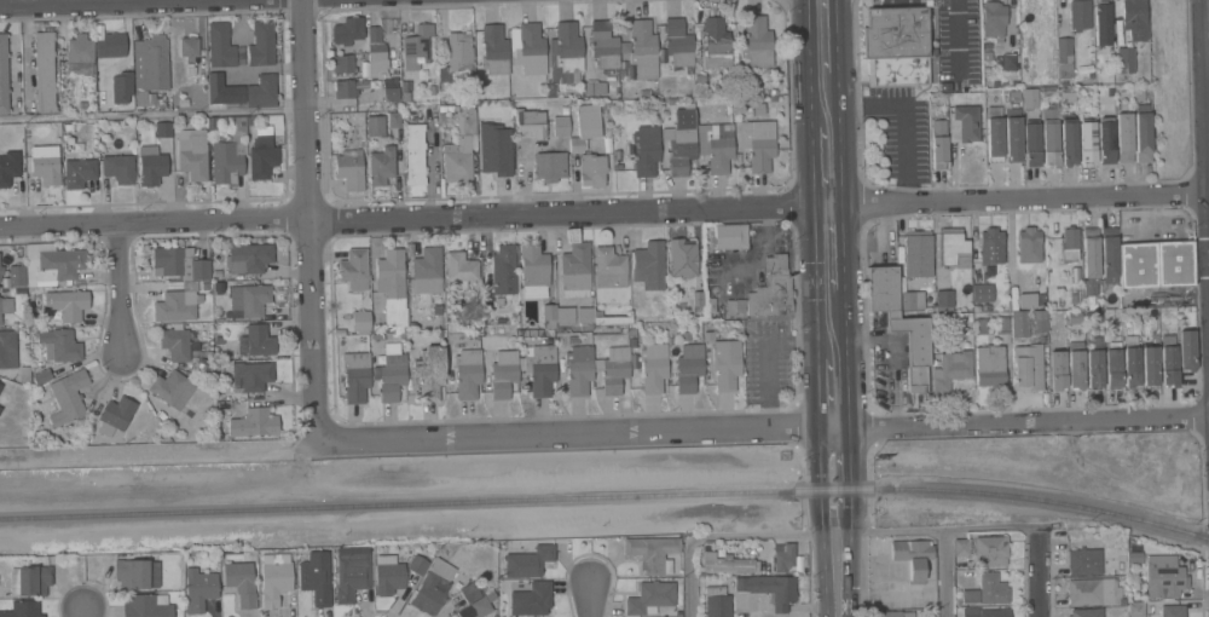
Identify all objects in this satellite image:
road: (106, 2)
building: (1132, 12)
building: (1078, 15)
building: (993, 19)
building: (1101, 28)
building: (347, 30)
road: (826, 35)
building: (716, 41)
building: (679, 42)
building: (756, 42)
building: (261, 44)
building: (220, 45)
building: (603, 45)
building: (895, 45)
building: (416, 46)
building: (189, 47)
building: (566, 47)
building: (109, 48)
building: (527, 48)
building: (376, 50)
building: (493, 50)
building: (643, 50)
building: (79, 54)
building: (456, 56)
building: (1064, 57)
building: (1124, 59)
building: (1008, 62)
building: (342, 63)
building: (150, 67)
road: (1207, 68)
building: (44, 71)
building: (4, 74)
building: (121, 87)
building: (595, 87)
building: (345, 88)
building: (222, 90)
road: (827, 90)
building: (262, 91)
building: (391, 93)
building: (1029, 98)
road: (151, 114)
road: (906, 115)
road: (828, 117)
building: (393, 119)
building: (468, 121)
building: (531, 122)
building: (964, 123)
building: (585, 125)
building: (375, 126)
building: (561, 126)
building: (163, 129)
building: (1124, 133)
building: (1143, 133)
building: (1049, 137)
building: (994, 139)
building: (1012, 139)
building: (681, 140)
building: (1068, 140)
building: (1105, 140)
building: (1087, 142)
building: (757, 143)
building: (1031, 143)
building: (938, 144)
building: (719, 146)
building: (493, 150)
building: (644, 150)
building: (192, 154)
building: (415, 154)
building: (230, 155)
building: (261, 156)
building: (457, 161)
building: (45, 163)
building: (151, 165)
building: (8, 166)
building: (381, 166)
building: (550, 166)
road: (829, 167)
building: (118, 168)
building: (349, 168)
building: (591, 168)
road: (432, 169)
building: (79, 172)
road: (604, 211)
road: (308, 218)
building: (729, 236)
building: (1069, 243)
building: (1029, 244)
building: (990, 246)
road: (831, 248)
building: (953, 248)
building: (916, 253)
building: (1091, 254)
building: (648, 255)
building: (248, 258)
building: (682, 258)
building: (499, 260)
building: (178, 263)
building: (1174, 263)
building: (51, 264)
building: (1110, 266)
building: (1136, 266)
building: (609, 267)
building: (353, 269)
building: (459, 269)
building: (533, 269)
building: (575, 270)
building: (427, 271)
building: (13, 275)
building: (392, 287)
building: (771, 289)
building: (883, 289)
building: (46, 292)
road: (118, 292)
building: (983, 293)
building: (944, 298)
building: (910, 299)
building: (248, 300)
building: (1025, 300)
building: (178, 304)
building: (6, 305)
building: (73, 305)
building: (734, 306)
building: (548, 315)
building: (565, 316)
building: (584, 316)
building: (0, 321)
building: (359, 321)
building: (1039, 321)
road: (832, 323)
building: (1019, 323)
building: (1001, 324)
building: (983, 325)
building: (255, 341)
building: (174, 342)
building: (6, 345)
building: (59, 345)
building: (913, 348)
building: (1186, 350)
road: (767, 352)
building: (1168, 361)
building: (724, 362)
building: (1093, 362)
building: (1132, 362)
building: (202, 367)
building: (653, 367)
building: (688, 367)
building: (990, 367)
building: (1026, 367)
building: (1149, 367)
building: (538, 368)
building: (1112, 368)
building: (578, 369)
building: (614, 369)
building: (951, 369)
building: (1075, 369)
building: (1057, 370)
building: (429, 371)
building: (391, 373)
building: (467, 373)
building: (503, 373)
building: (250, 375)
building: (355, 376)
building: (0, 385)
building: (172, 388)
road: (834, 392)
building: (66, 397)
building: (0, 408)
building: (115, 415)
building: (254, 422)
road: (763, 428)
road: (820, 474)
road: (845, 475)
railway: (607, 497)
road: (936, 529)
road: (722, 536)
building: (961, 546)
building: (990, 550)
building: (652, 552)
building: (783, 557)
building: (913, 557)
building: (527, 558)
building: (727, 560)
building: (1083, 560)
building: (417, 564)
road: (835, 570)
building: (351, 571)
road: (1037, 571)
road: (944, 572)
building: (135, 573)
building: (387, 575)
building: (1164, 576)
building: (274, 577)
building: (316, 577)
building: (239, 578)
building: (30, 579)
building: (433, 587)
building: (198, 589)
building: (769, 589)
building: (991, 589)
building: (472, 590)
building: (1094, 592)
road: (588, 598)
building: (650, 598)
building: (531, 599)
building: (717, 601)
building: (146, 606)
building: (480, 606)
building: (23, 609)
building: (1135, 609)
building: (1172, 611)
road: (81, 612)
building: (984, 612)
building: (1084, 612)
building: (895, 613)
building: (932, 613)

